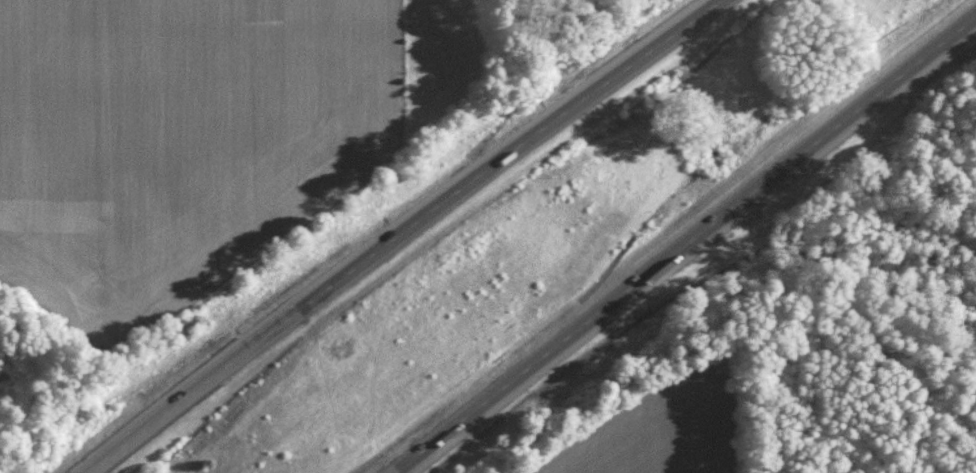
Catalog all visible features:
road: (402, 232)
road: (684, 242)

